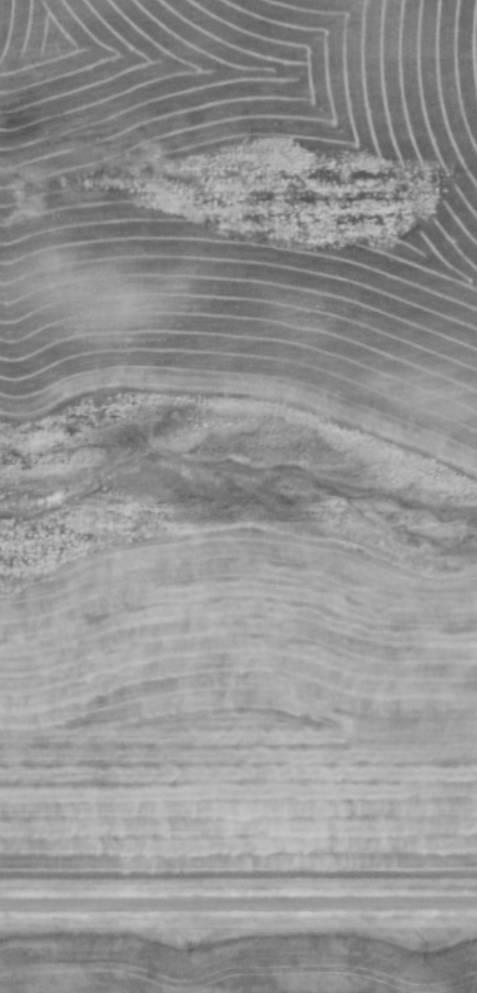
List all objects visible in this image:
road: (238, 895)

